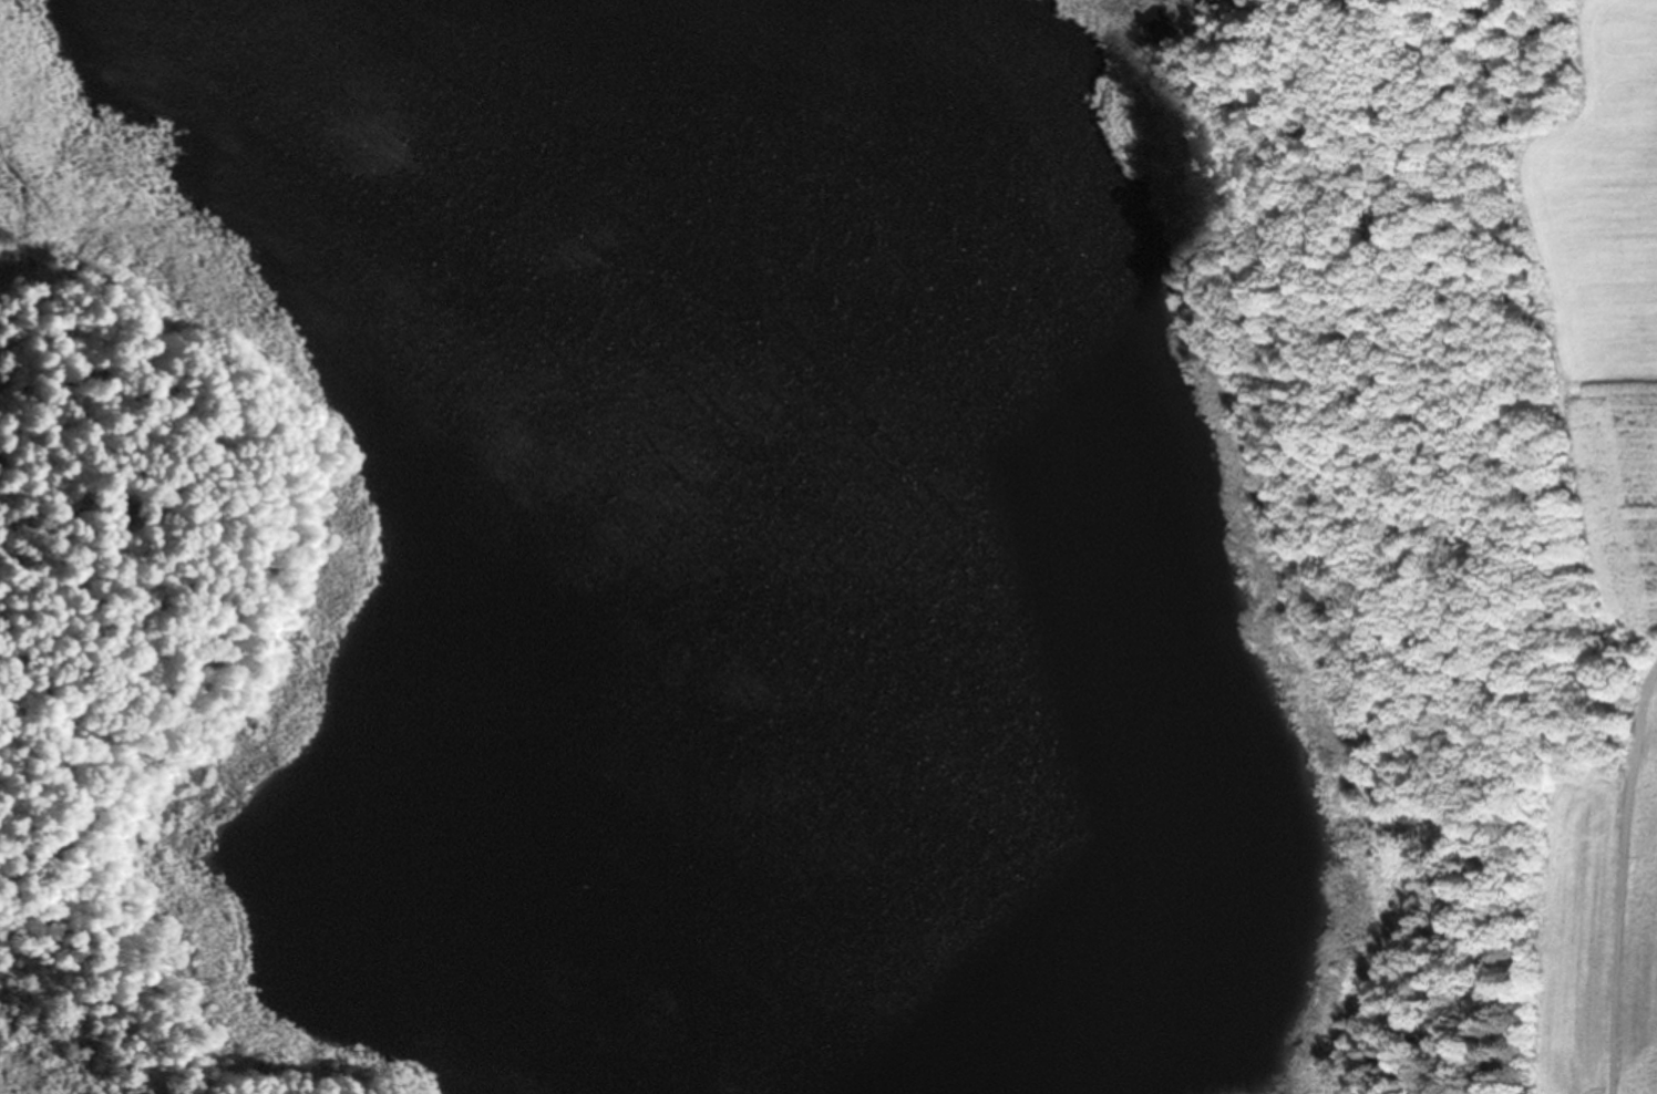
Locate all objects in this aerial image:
crop: (1604, 547)
road: (1623, 876)

